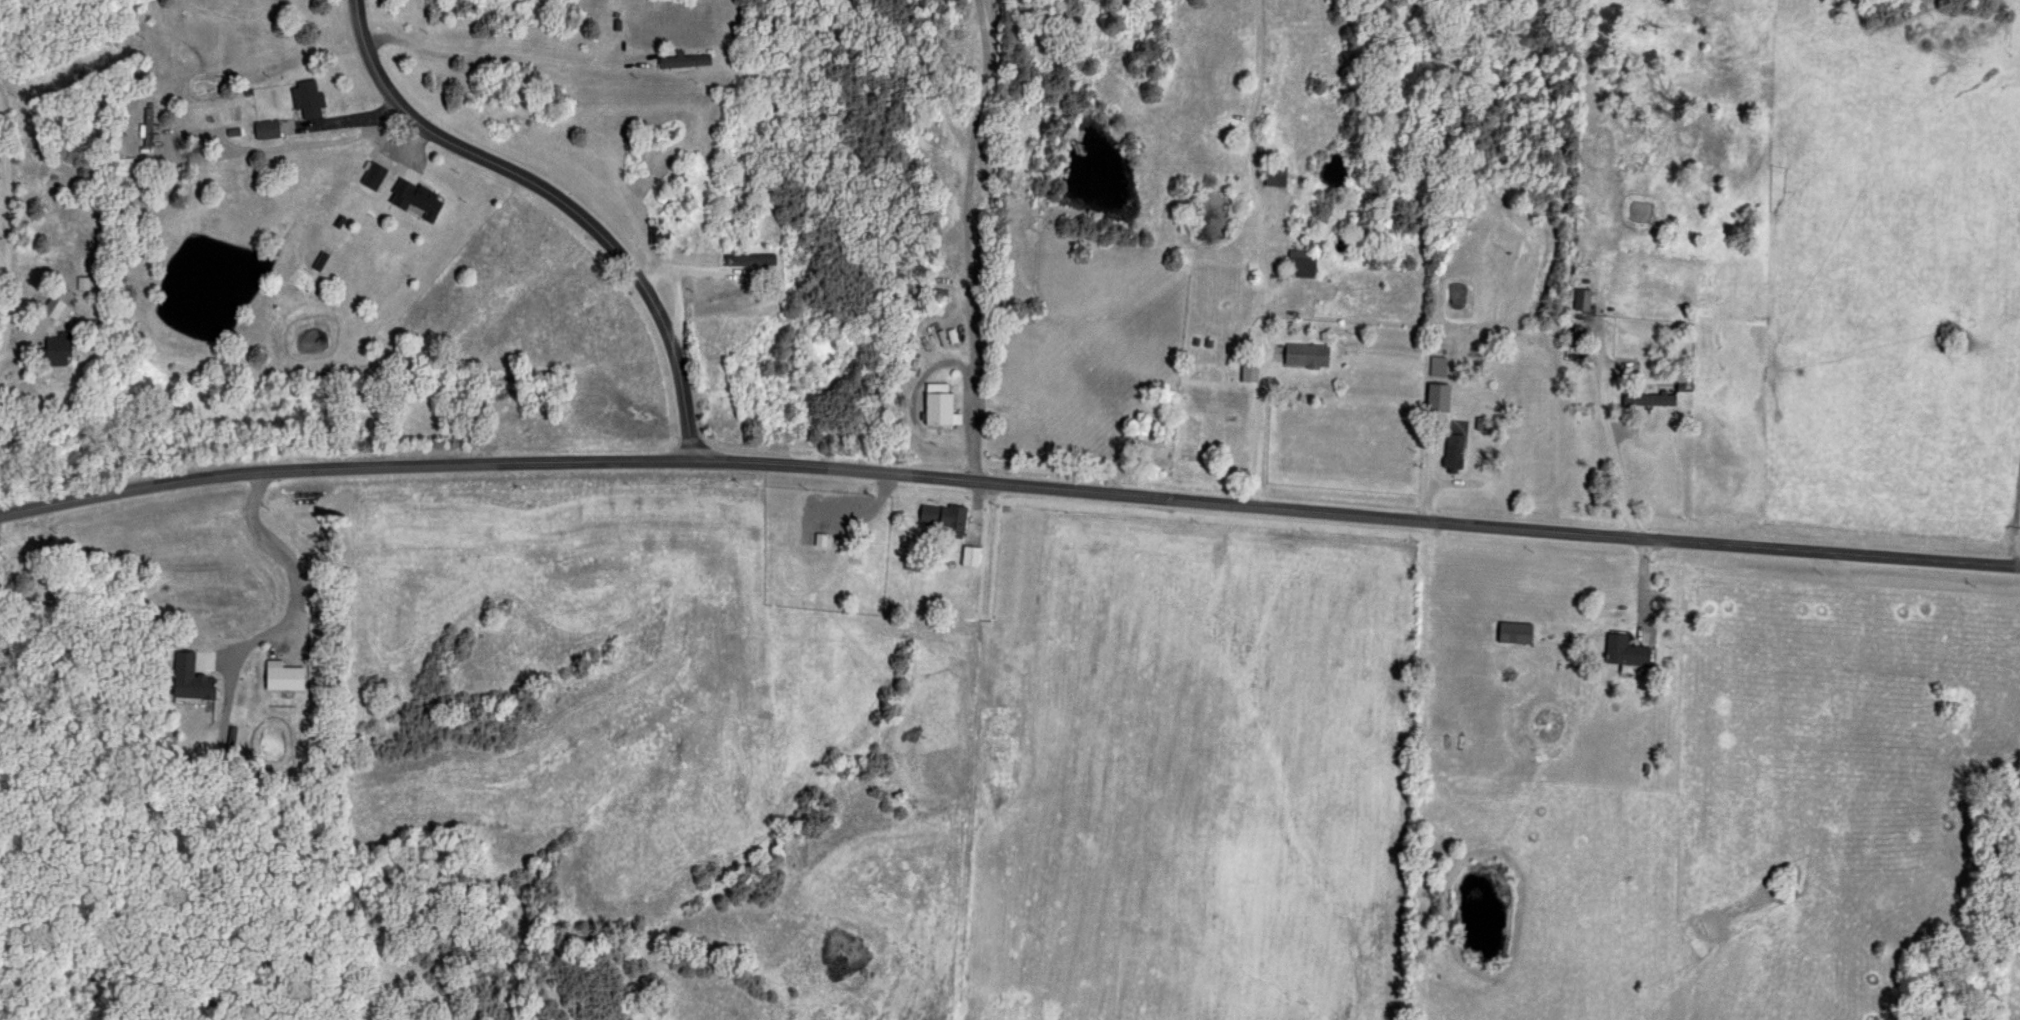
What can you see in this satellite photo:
road: (489, 52)
building: (688, 61)
building: (312, 99)
building: (270, 129)
road: (243, 147)
building: (377, 175)
building: (1269, 176)
road: (558, 198)
building: (419, 199)
road: (4, 232)
building: (663, 233)
road: (976, 241)
building: (753, 259)
building: (1304, 263)
building: (84, 283)
building: (60, 305)
building: (61, 349)
building: (1308, 356)
building: (1253, 371)
building: (1212, 375)
building: (943, 404)
road: (1252, 427)
road: (1609, 444)
building: (1451, 452)
road: (1009, 482)
road: (2012, 511)
building: (944, 517)
road: (280, 552)
building: (972, 556)
building: (1509, 633)
building: (1620, 650)

